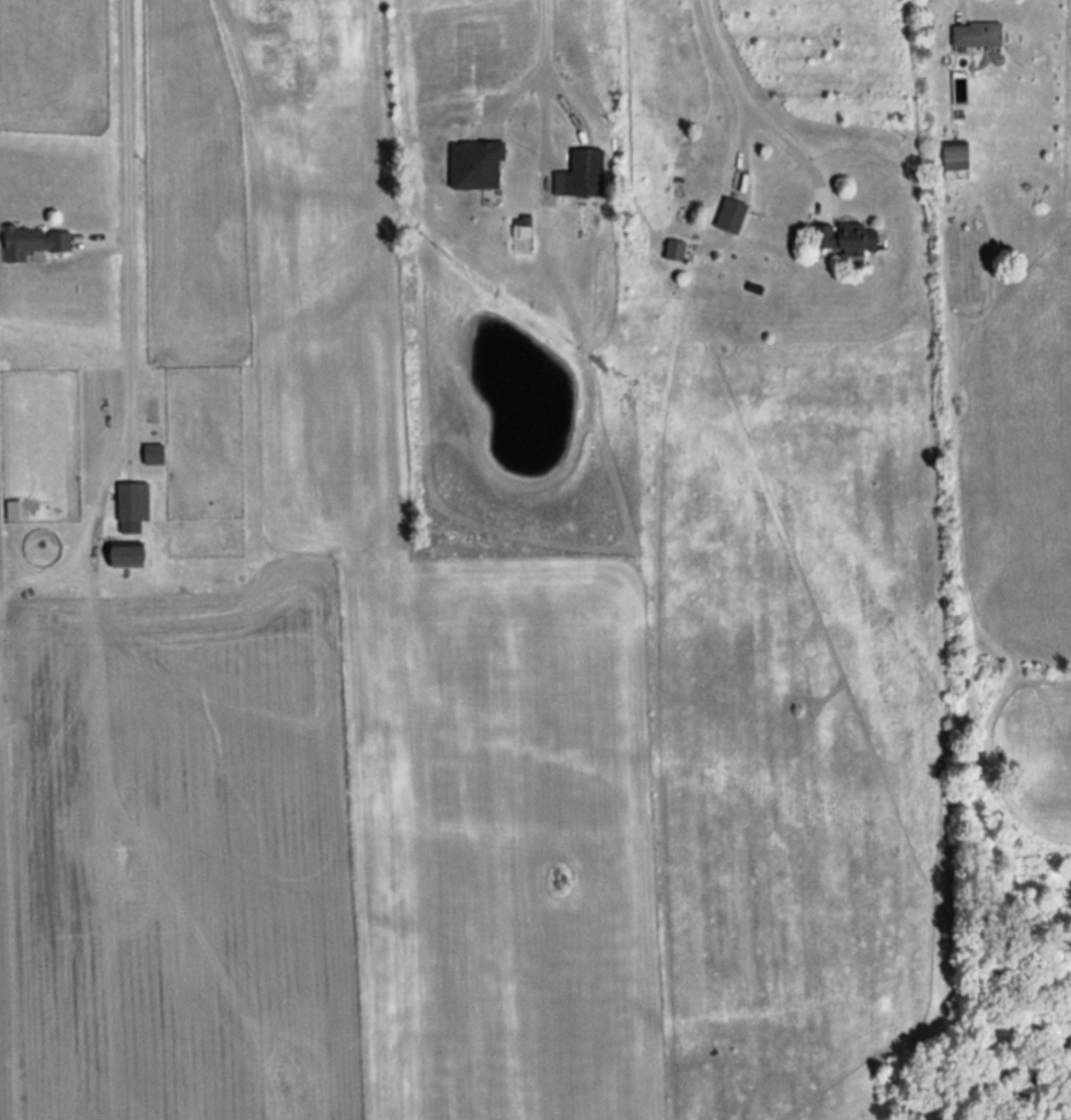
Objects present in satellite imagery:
building: (972, 35)
road: (544, 64)
building: (268, 67)
road: (748, 110)
building: (953, 159)
building: (472, 165)
building: (581, 172)
building: (727, 216)
road: (125, 218)
building: (844, 240)
building: (30, 242)
building: (671, 250)
building: (150, 455)
building: (129, 502)
building: (10, 510)
building: (119, 556)

